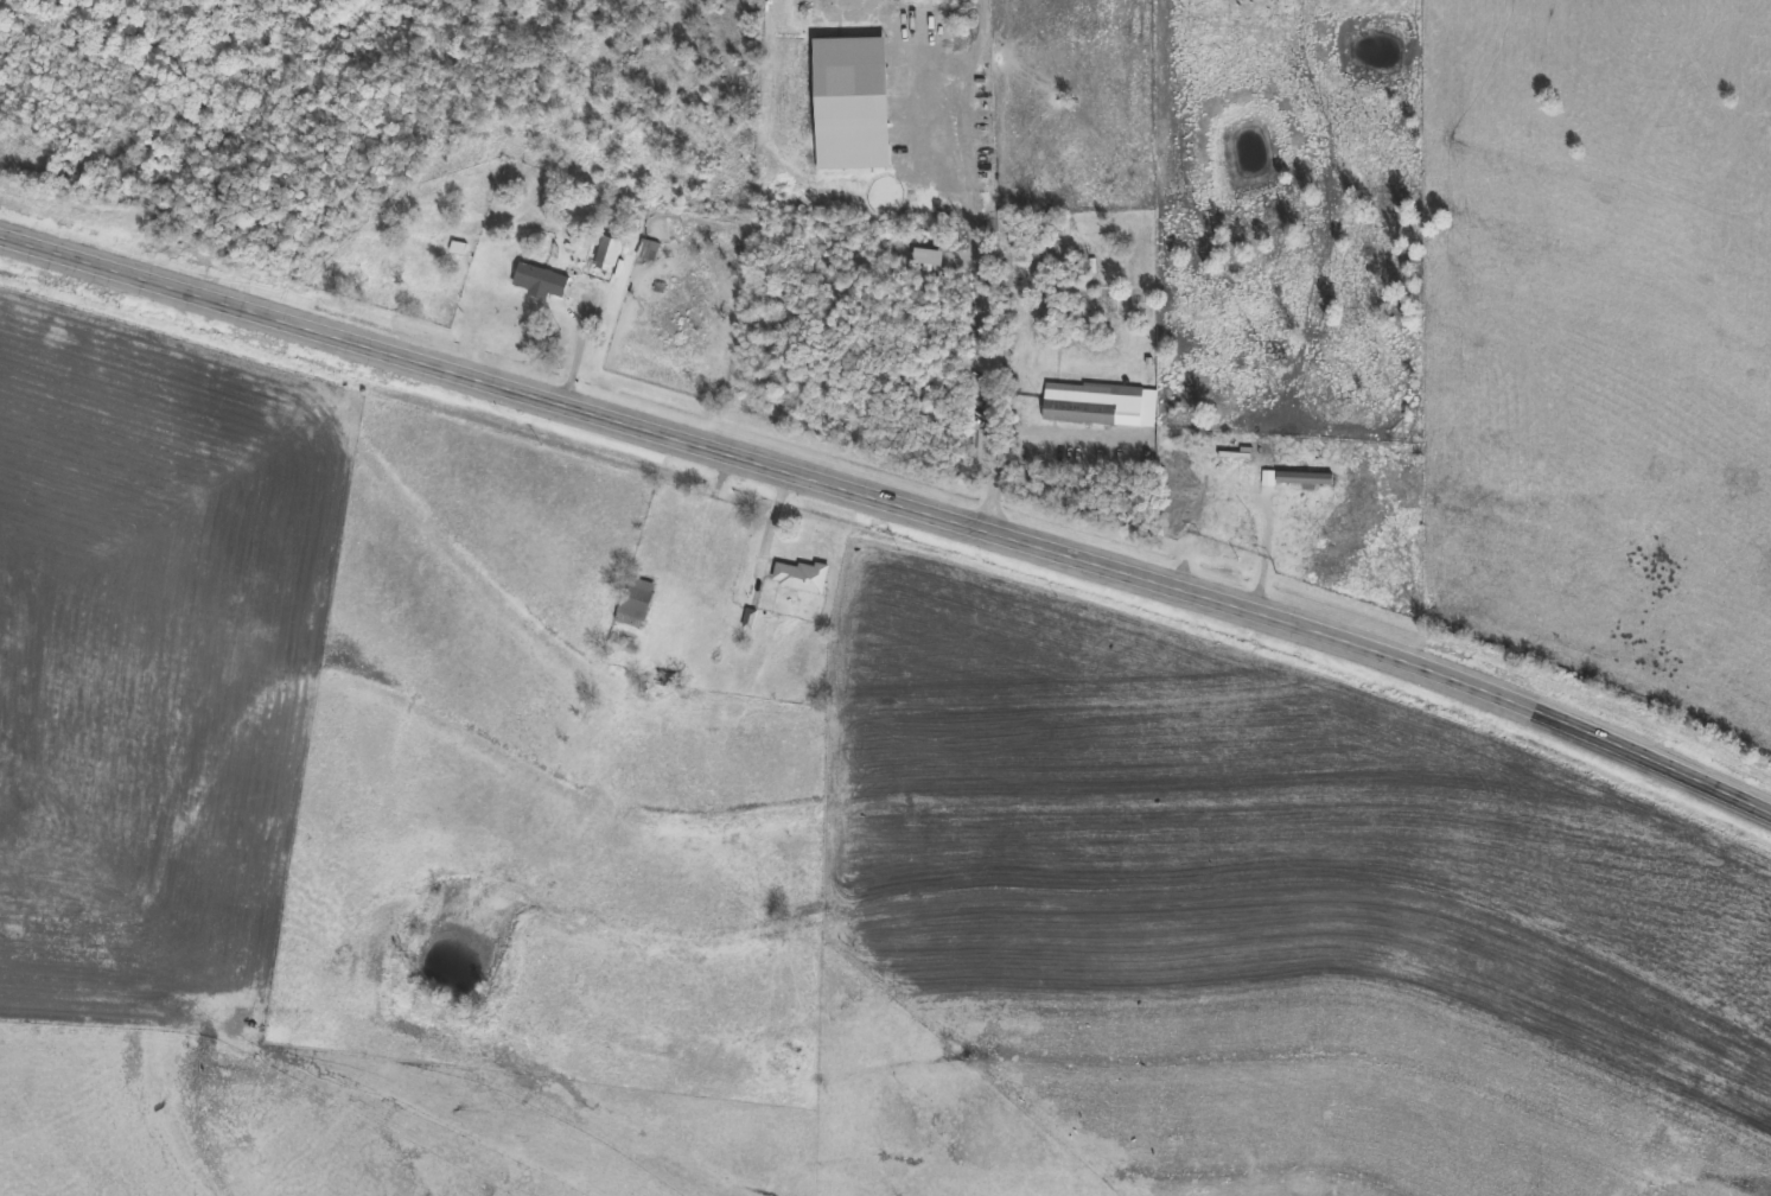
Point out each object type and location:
building: (459, 249)
building: (650, 252)
building: (609, 255)
building: (541, 282)
road: (584, 323)
road: (979, 355)
building: (1082, 406)
building: (1140, 419)
railway: (891, 477)
building: (1301, 478)
road: (892, 500)
road: (773, 519)
building: (801, 578)
road: (681, 580)
building: (637, 603)

